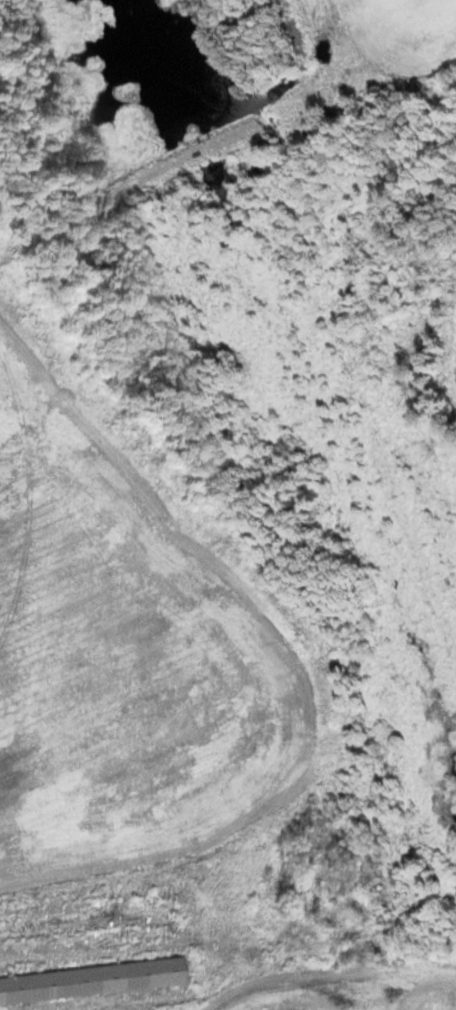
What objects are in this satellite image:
building: (83, 920)
building: (92, 981)

